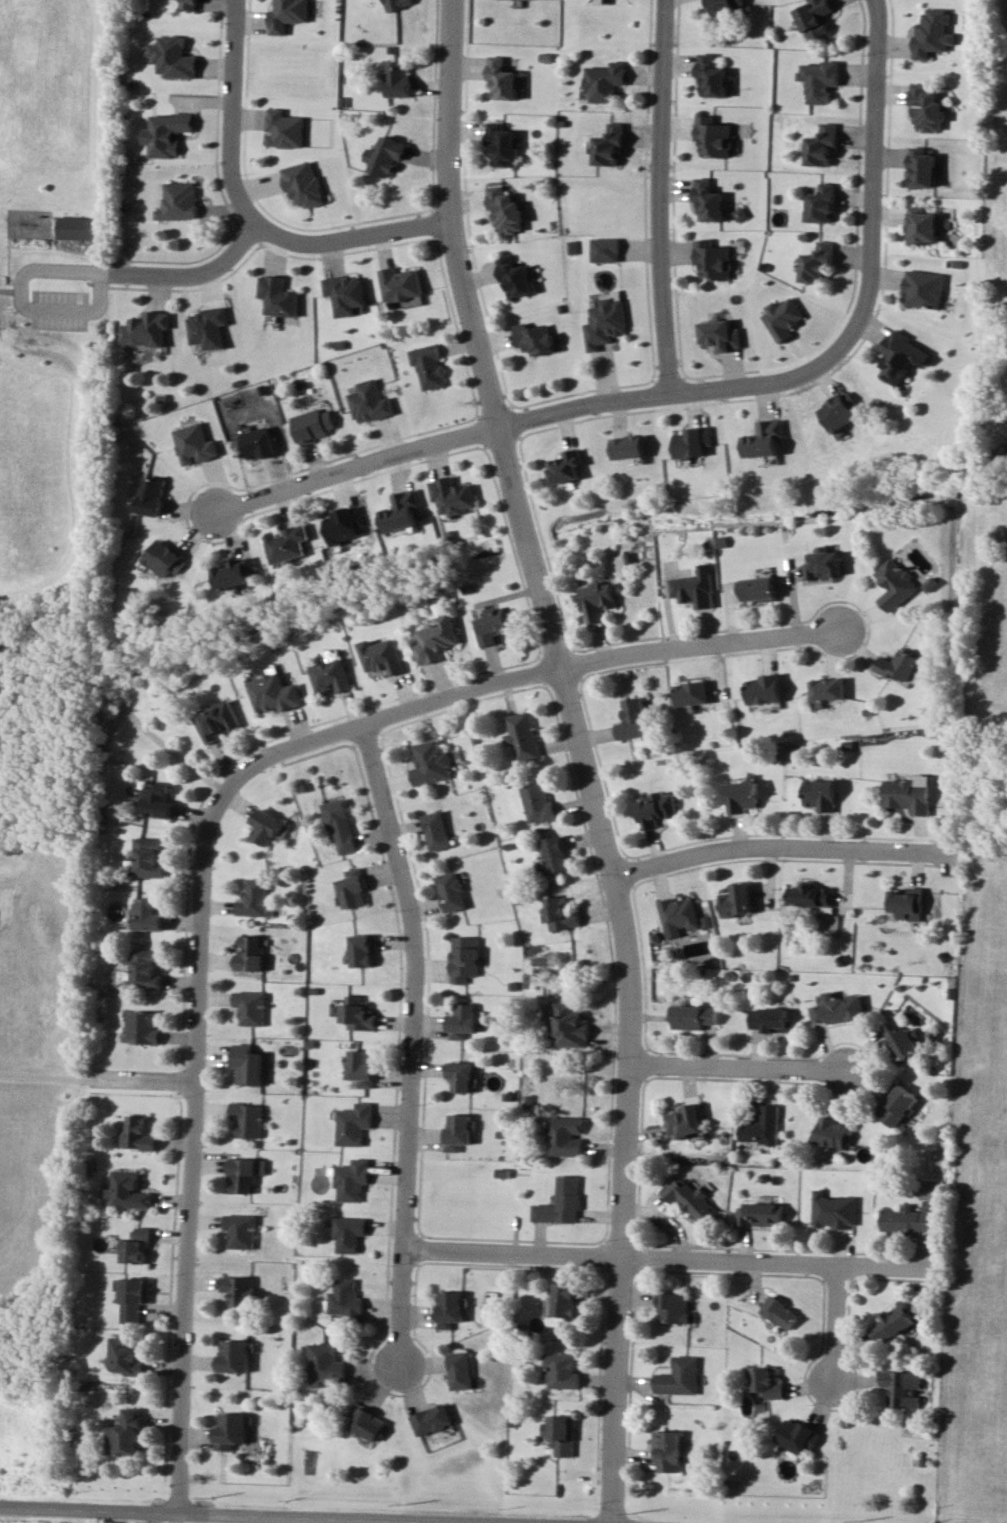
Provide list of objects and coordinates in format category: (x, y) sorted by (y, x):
building: (397, 4)
building: (189, 5)
building: (724, 5)
building: (289, 16)
building: (815, 17)
building: (933, 22)
building: (172, 58)
building: (711, 75)
building: (501, 80)
building: (820, 80)
building: (398, 81)
building: (606, 82)
building: (926, 95)
road: (434, 99)
road: (217, 108)
building: (285, 129)
building: (167, 135)
building: (713, 135)
building: (501, 144)
building: (608, 144)
building: (821, 144)
building: (386, 155)
building: (921, 156)
road: (233, 177)
building: (303, 183)
road: (674, 183)
road: (647, 184)
road: (254, 187)
road: (665, 191)
road: (467, 199)
building: (707, 199)
building: (178, 201)
building: (820, 204)
building: (504, 208)
building: (921, 213)
road: (435, 216)
road: (416, 221)
road: (248, 224)
building: (77, 228)
road: (349, 242)
road: (857, 245)
road: (190, 249)
building: (604, 250)
building: (711, 259)
building: (816, 261)
road: (127, 264)
road: (71, 265)
building: (512, 275)
building: (923, 275)
road: (200, 278)
building: (398, 283)
road: (9, 291)
building: (344, 293)
building: (276, 295)
park: (46, 297)
road: (865, 305)
building: (780, 318)
road: (457, 319)
building: (603, 322)
building: (207, 326)
building: (146, 328)
building: (717, 334)
building: (533, 337)
road: (851, 342)
building: (901, 344)
building: (427, 365)
road: (666, 368)
road: (581, 381)
road: (494, 399)
building: (840, 399)
building: (367, 401)
road: (516, 412)
road: (480, 420)
building: (310, 424)
building: (763, 427)
building: (693, 430)
road: (501, 434)
building: (629, 435)
building: (256, 442)
building: (192, 443)
road: (402, 445)
building: (631, 447)
road: (320, 454)
building: (566, 455)
road: (324, 482)
building: (452, 494)
building: (149, 495)
building: (401, 511)
building: (343, 524)
road: (544, 534)
road: (513, 542)
building: (286, 543)
building: (163, 558)
building: (825, 564)
building: (235, 572)
building: (895, 584)
building: (697, 588)
building: (760, 589)
building: (599, 600)
building: (494, 625)
road: (698, 637)
building: (437, 640)
road: (555, 647)
road: (574, 651)
building: (383, 656)
road: (547, 664)
building: (898, 665)
road: (566, 670)
building: (332, 676)
building: (766, 689)
building: (829, 689)
building: (275, 693)
building: (693, 693)
building: (634, 719)
building: (218, 721)
building: (522, 738)
road: (586, 755)
building: (432, 763)
building: (823, 795)
building: (744, 796)
building: (910, 796)
building: (159, 800)
building: (538, 802)
building: (657, 809)
building: (341, 824)
building: (267, 827)
building: (439, 830)
road: (778, 848)
building: (557, 855)
building: (152, 858)
building: (354, 889)
building: (455, 892)
building: (811, 895)
building: (257, 898)
building: (739, 900)
building: (909, 904)
building: (563, 913)
building: (680, 914)
building: (150, 915)
building: (365, 950)
building: (252, 954)
building: (467, 959)
road: (200, 965)
building: (147, 969)
building: (252, 1007)
building: (839, 1009)
building: (359, 1014)
building: (695, 1015)
building: (772, 1020)
building: (466, 1021)
building: (568, 1024)
building: (145, 1028)
building: (902, 1039)
road: (412, 1041)
building: (249, 1064)
building: (363, 1067)
road: (737, 1069)
road: (49, 1076)
building: (463, 1076)
road: (148, 1078)
building: (899, 1107)
building: (248, 1119)
building: (687, 1121)
building: (356, 1124)
building: (764, 1127)
building: (833, 1128)
building: (460, 1131)
building: (139, 1133)
building: (567, 1136)
building: (247, 1174)
crop: (29, 1180)
building: (355, 1180)
building: (129, 1191)
building: (691, 1199)
building: (564, 1202)
building: (835, 1210)
building: (763, 1215)
building: (908, 1220)
building: (244, 1231)
building: (353, 1234)
building: (139, 1245)
road: (669, 1258)
building: (243, 1290)
building: (138, 1298)
building: (351, 1301)
building: (566, 1301)
building: (675, 1308)
building: (453, 1309)
building: (781, 1313)
building: (894, 1322)
road: (836, 1323)
building: (130, 1356)
building: (238, 1356)
building: (329, 1365)
building: (464, 1371)
building: (565, 1371)
building: (682, 1377)
building: (768, 1384)
building: (903, 1388)
building: (434, 1420)
building: (368, 1422)
building: (234, 1431)
building: (129, 1434)
building: (563, 1434)
building: (799, 1436)
building: (669, 1451)
road: (36, 1508)
road: (315, 1514)
road: (156, 1516)
road: (352, 1519)
road: (501, 1520)

